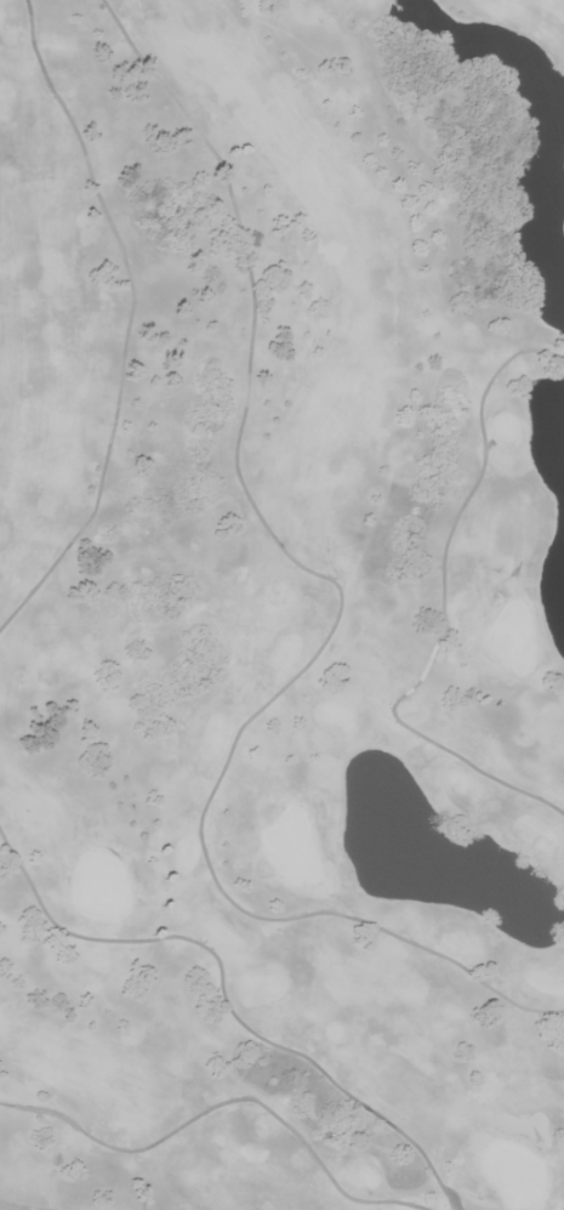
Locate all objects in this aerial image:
park: (281, 604)

